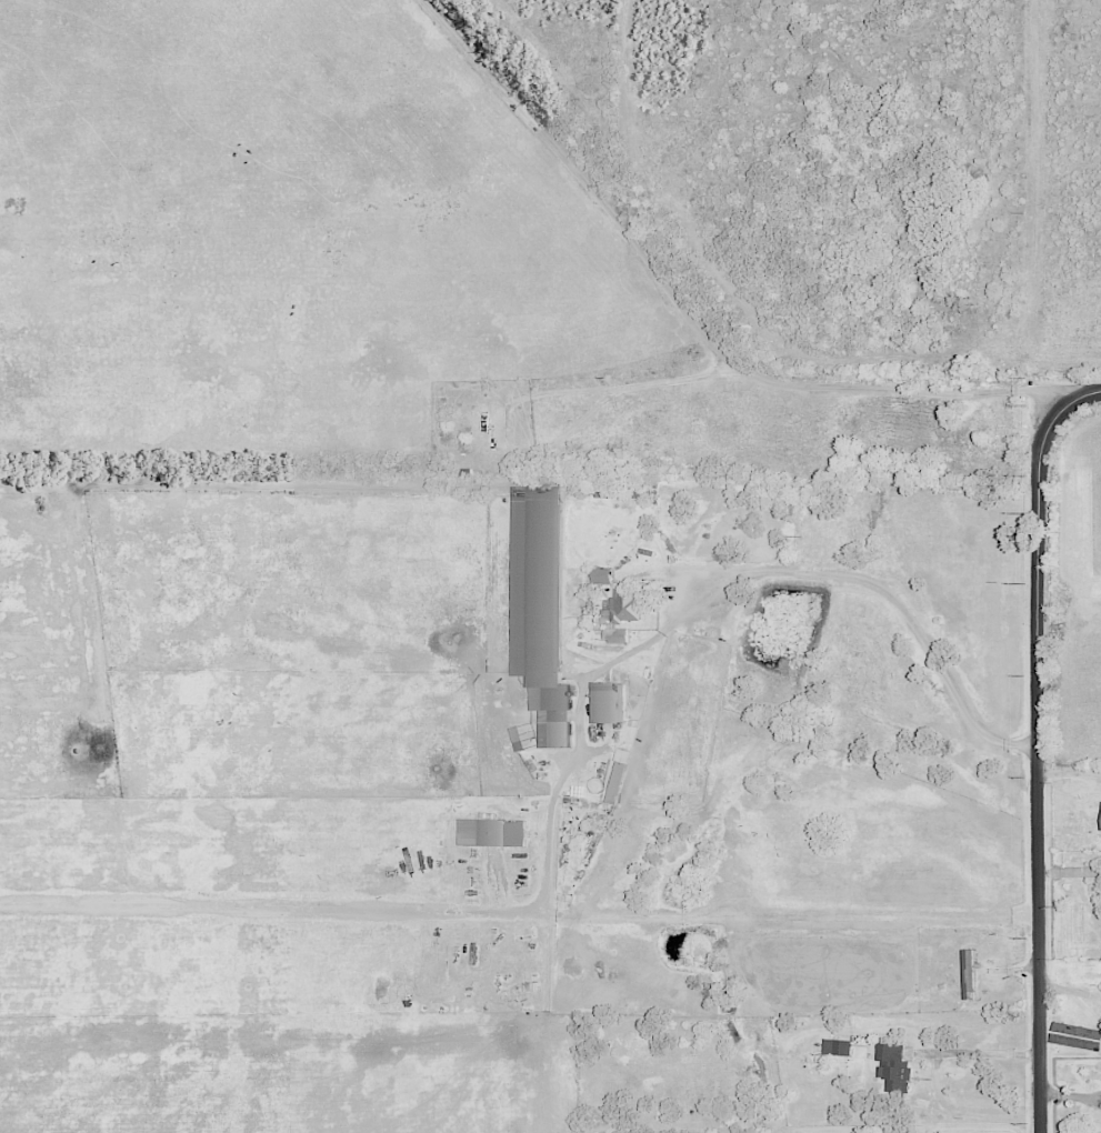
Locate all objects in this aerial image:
road: (685, 317)
road: (720, 580)
building: (625, 605)
building: (540, 606)
building: (617, 634)
building: (608, 702)
building: (518, 738)
road: (1038, 745)
building: (618, 775)
building: (492, 832)
building: (970, 974)
road: (1069, 994)
building: (838, 1046)
road: (980, 1054)

